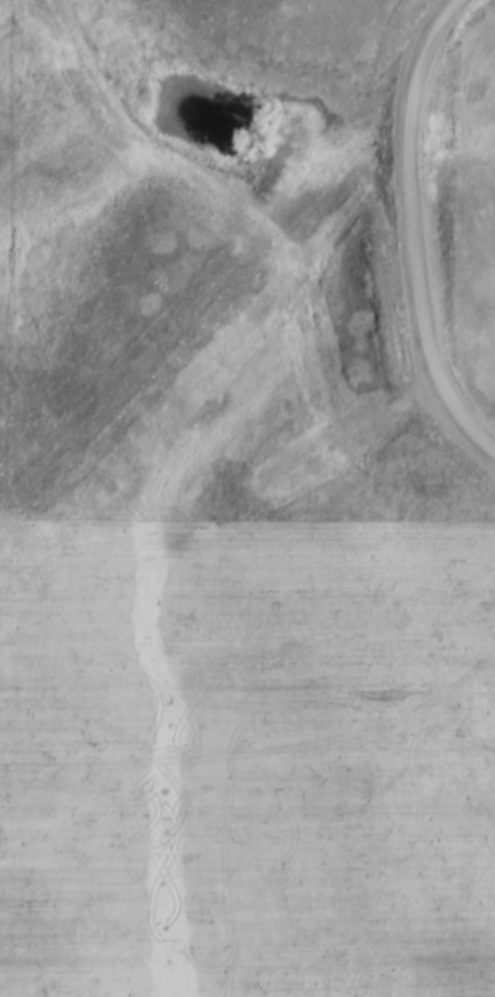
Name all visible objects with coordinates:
road: (404, 236)
road: (185, 743)

